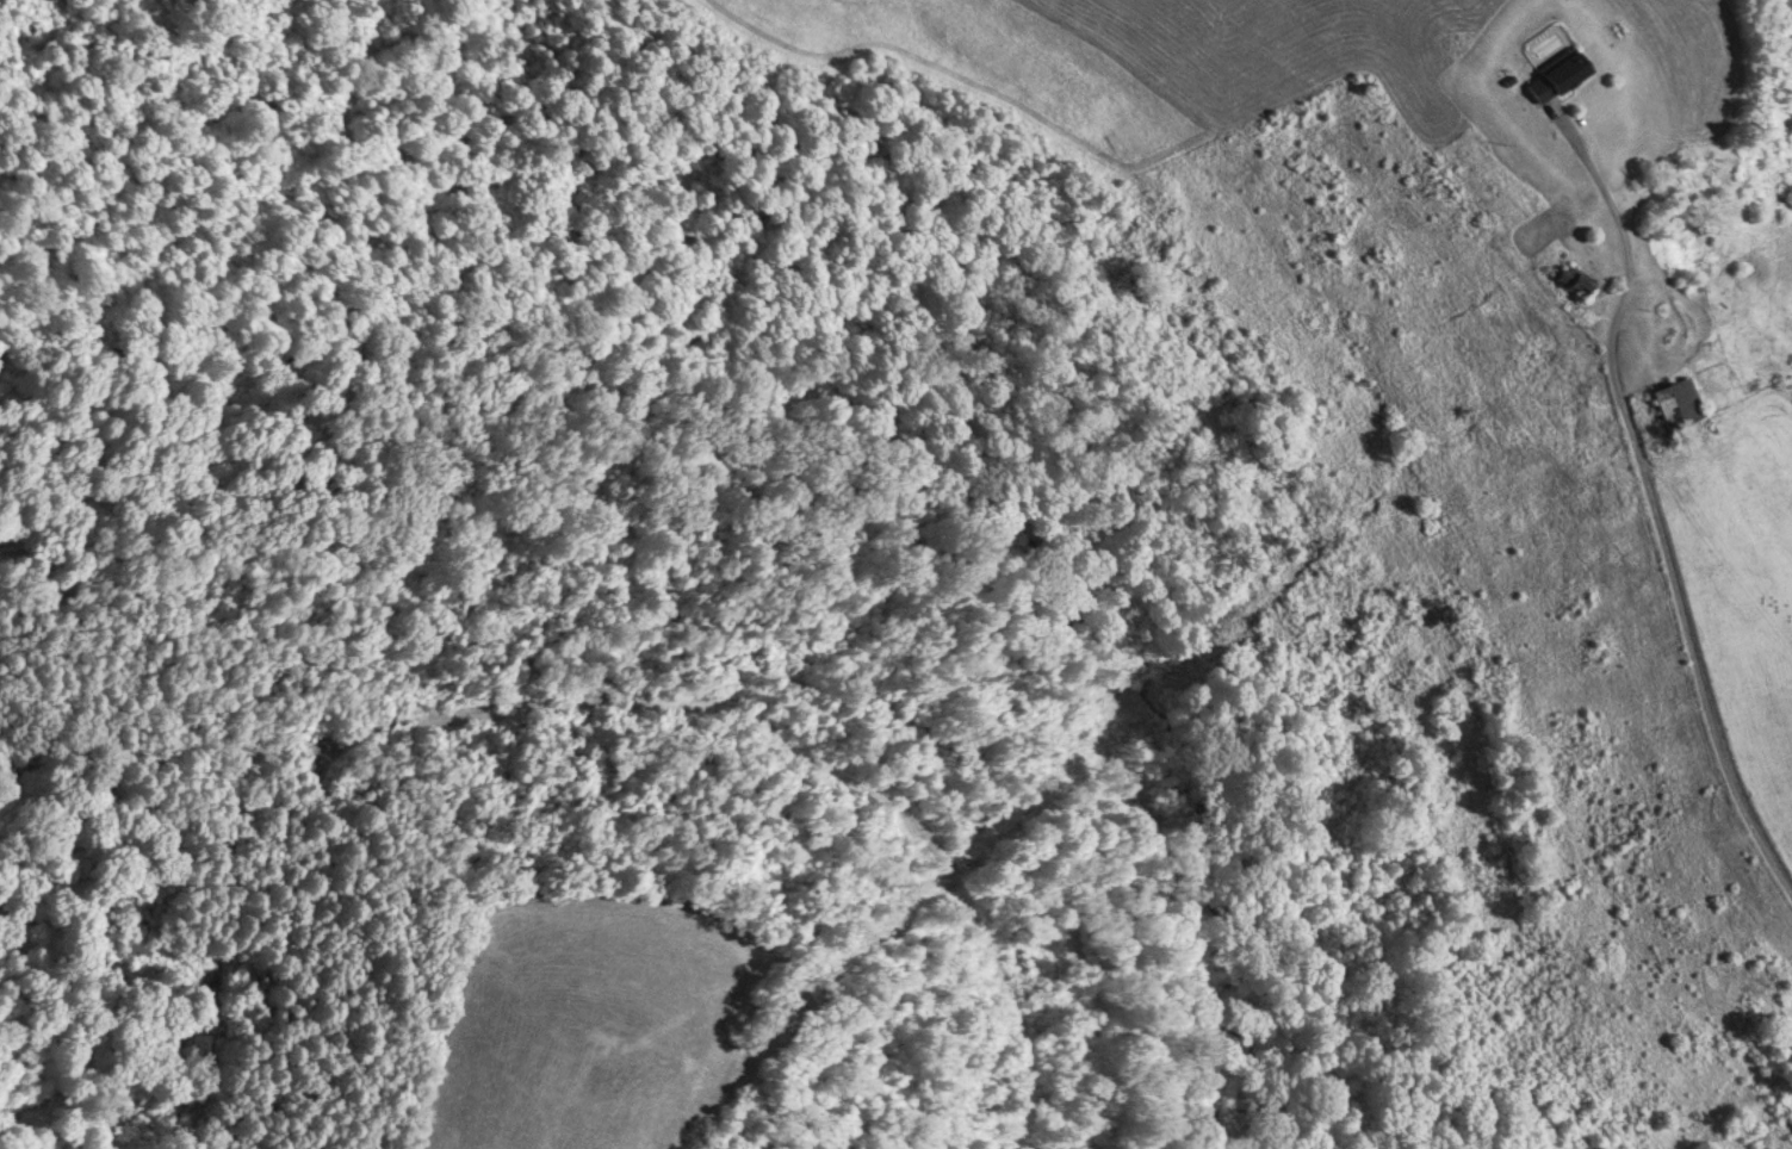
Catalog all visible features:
building: (1555, 76)
building: (1573, 280)
building: (1675, 403)

